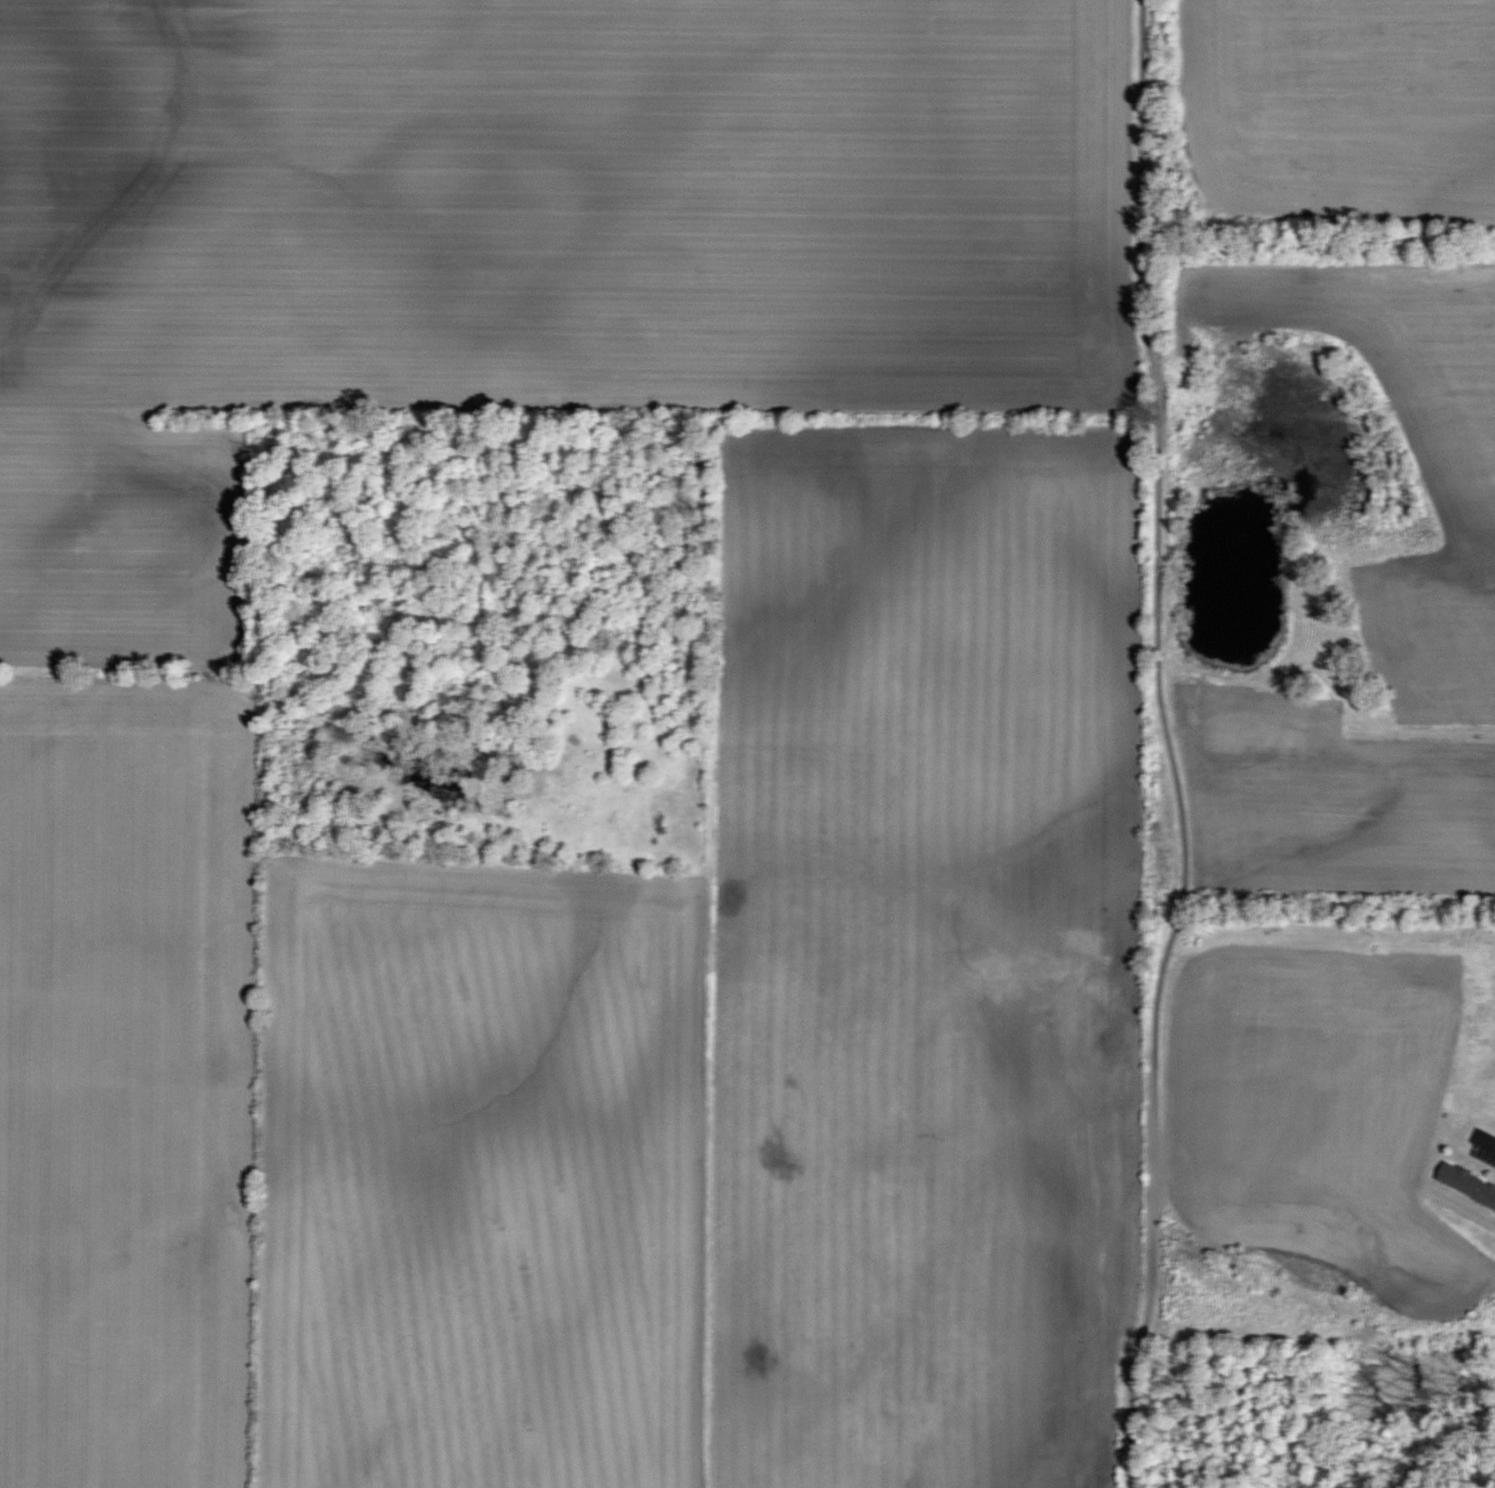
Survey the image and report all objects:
road: (1168, 745)
road: (1489, 1137)
building: (1467, 1185)

